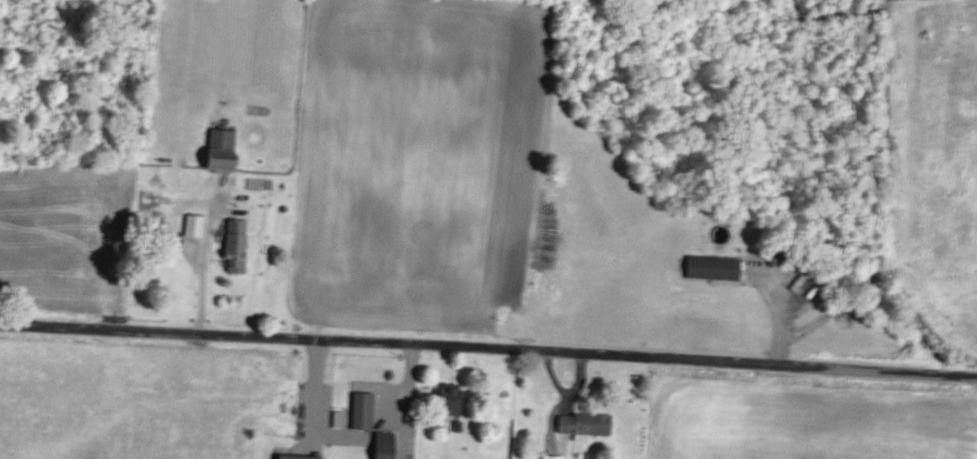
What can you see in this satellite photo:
building: (217, 150)
building: (193, 225)
building: (233, 244)
road: (197, 265)
building: (711, 268)
road: (488, 341)
building: (443, 402)
building: (361, 410)
building: (583, 424)
building: (381, 445)
building: (294, 457)

